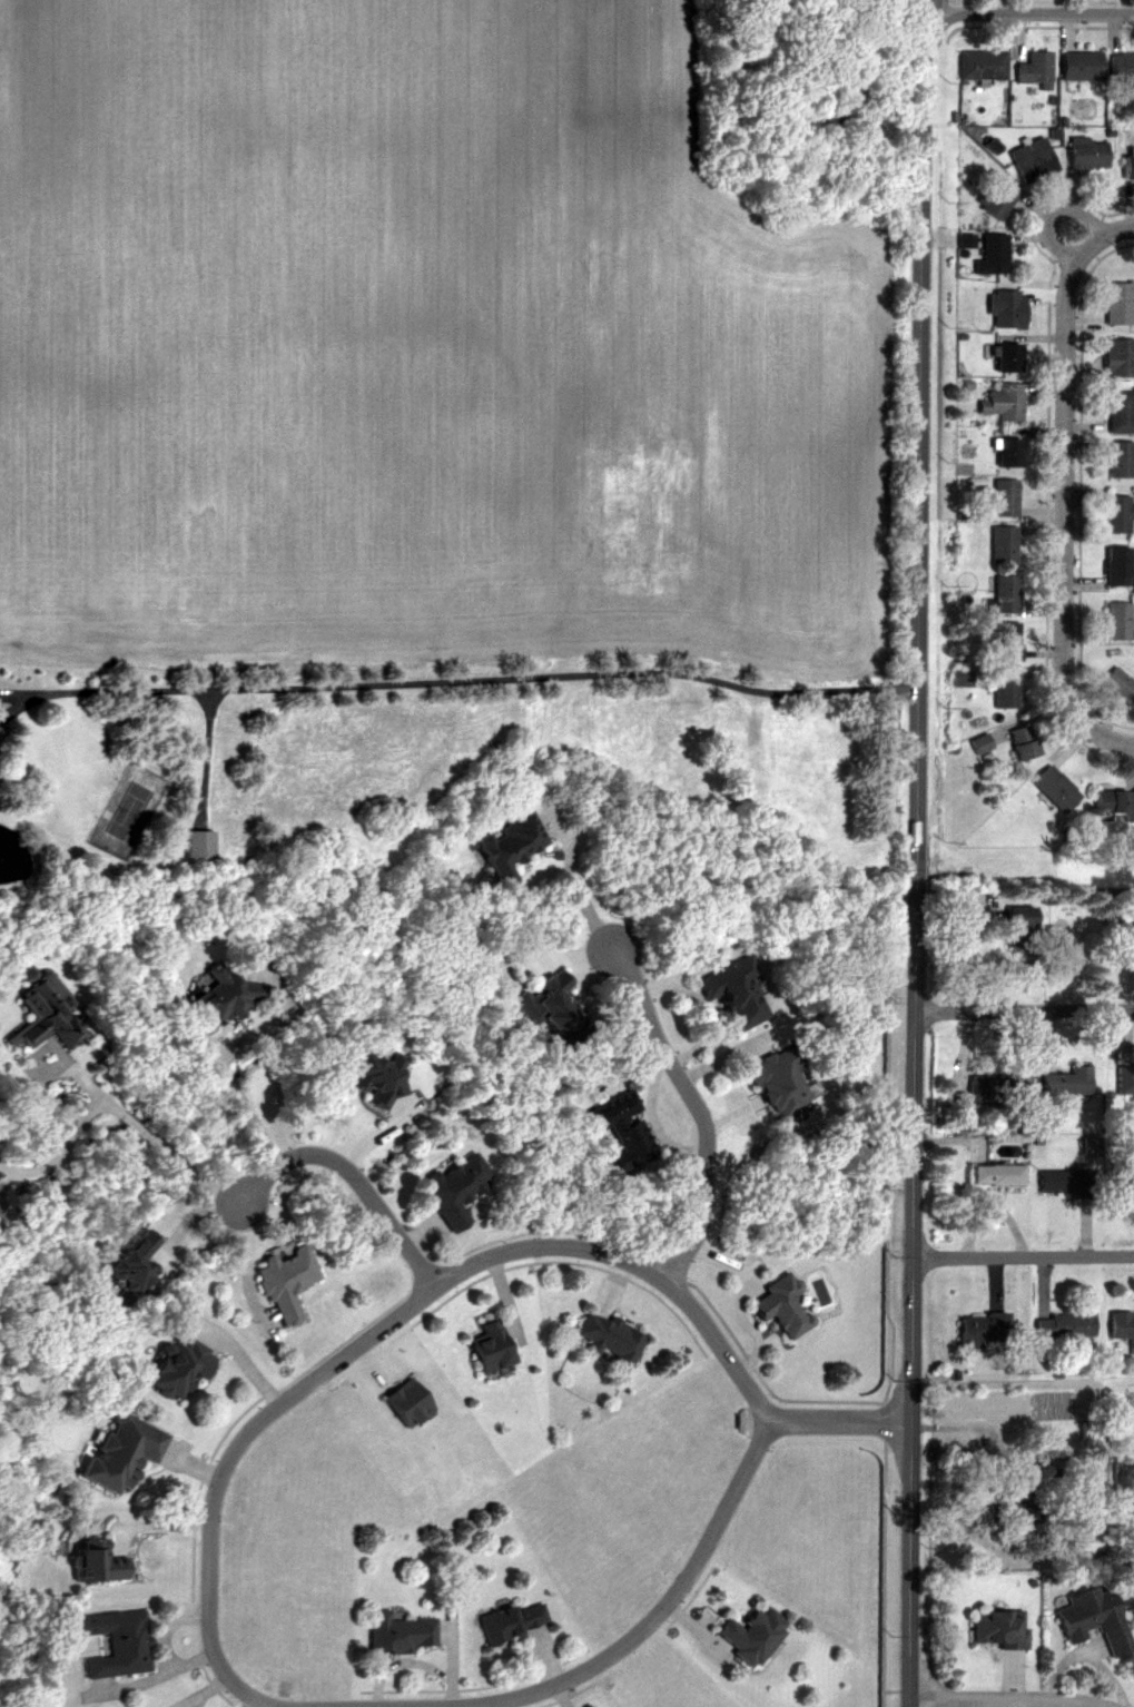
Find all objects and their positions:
road: (1029, 13)
building: (982, 66)
building: (1081, 66)
building: (1122, 66)
building: (1035, 70)
building: (1087, 154)
building: (1033, 160)
building: (1128, 167)
building: (997, 199)
road: (1048, 211)
building: (986, 253)
building: (1118, 303)
building: (1006, 309)
building: (1007, 358)
building: (1118, 358)
building: (1005, 403)
building: (1121, 412)
building: (1007, 453)
building: (1121, 460)
road: (1064, 485)
building: (1005, 499)
building: (1117, 515)
building: (1003, 545)
building: (1116, 565)
building: (1006, 593)
building: (1117, 622)
building: (1007, 641)
road: (472, 679)
building: (1120, 685)
building: (1005, 689)
road: (11, 692)
road: (13, 707)
building: (1022, 742)
building: (980, 743)
building: (1055, 789)
building: (1114, 801)
building: (198, 843)
building: (510, 846)
road: (920, 854)
road: (575, 884)
building: (1019, 926)
building: (1126, 935)
building: (737, 990)
building: (223, 997)
building: (548, 1005)
road: (1024, 1009)
building: (47, 1016)
road: (226, 1055)
building: (376, 1074)
building: (1125, 1082)
building: (780, 1084)
building: (1064, 1086)
building: (997, 1091)
road: (700, 1112)
building: (622, 1131)
road: (154, 1144)
road: (62, 1154)
building: (995, 1176)
road: (352, 1177)
building: (1065, 1183)
building: (1122, 1184)
building: (455, 1186)
road: (189, 1214)
road: (1025, 1255)
road: (623, 1259)
building: (132, 1264)
building: (285, 1280)
road: (736, 1297)
building: (781, 1306)
building: (1064, 1325)
building: (1122, 1328)
building: (980, 1329)
building: (610, 1339)
building: (489, 1346)
building: (177, 1365)
building: (118, 1452)
road: (987, 1452)
road: (1038, 1458)
building: (1003, 1512)
building: (1084, 1542)
road: (210, 1543)
building: (95, 1566)
building: (1132, 1571)
building: (1133, 1592)
road: (662, 1611)
building: (1093, 1619)
building: (513, 1620)
building: (997, 1628)
building: (401, 1632)
building: (751, 1635)
building: (116, 1642)
road: (206, 1691)
road: (1005, 1697)

